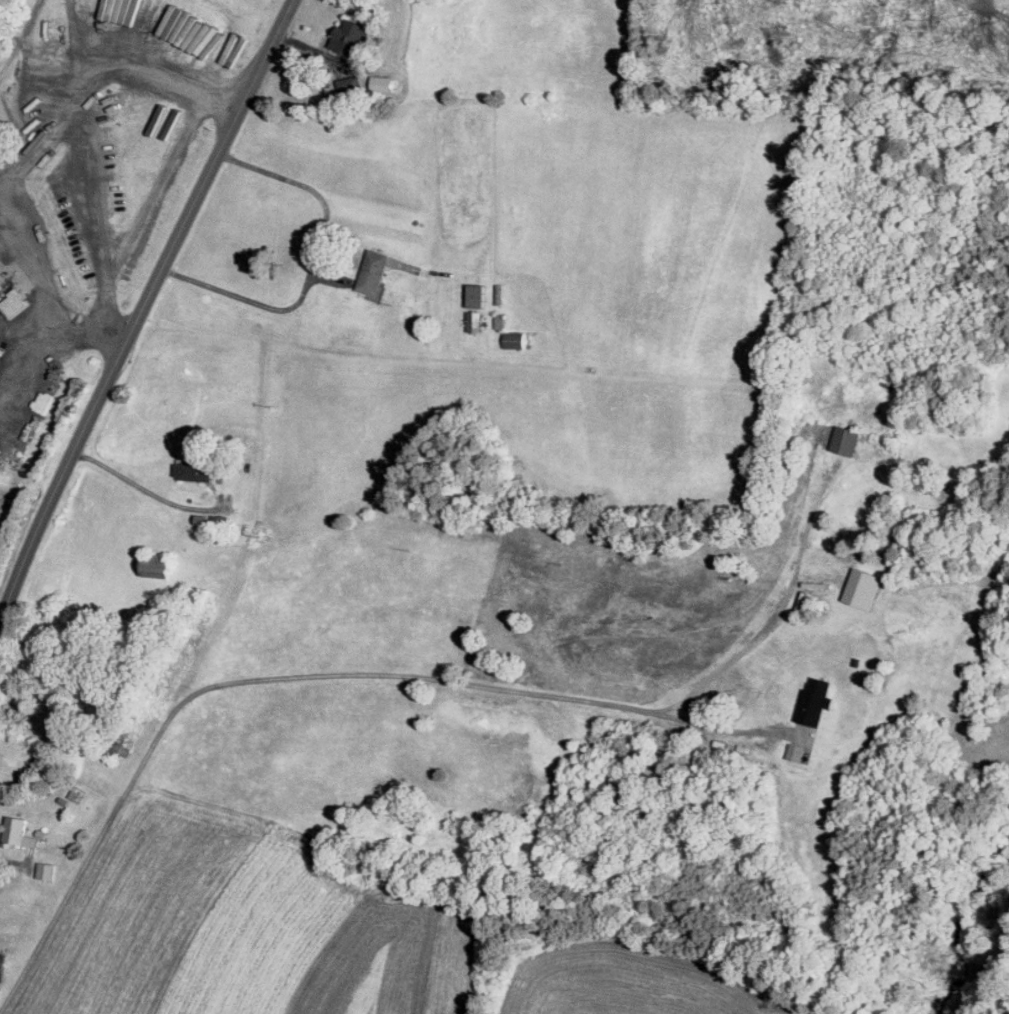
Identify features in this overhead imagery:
building: (351, 35)
road: (85, 36)
building: (383, 83)
building: (351, 84)
road: (26, 154)
road: (5, 158)
road: (88, 197)
road: (145, 209)
road: (314, 264)
building: (375, 271)
building: (2, 291)
building: (479, 295)
road: (143, 309)
building: (475, 320)
building: (501, 320)
building: (516, 338)
road: (31, 366)
building: (846, 439)
building: (194, 470)
road: (146, 489)
building: (159, 568)
building: (865, 588)
road: (297, 675)
building: (816, 698)
building: (796, 750)
building: (17, 830)
building: (46, 869)
building: (2, 964)

